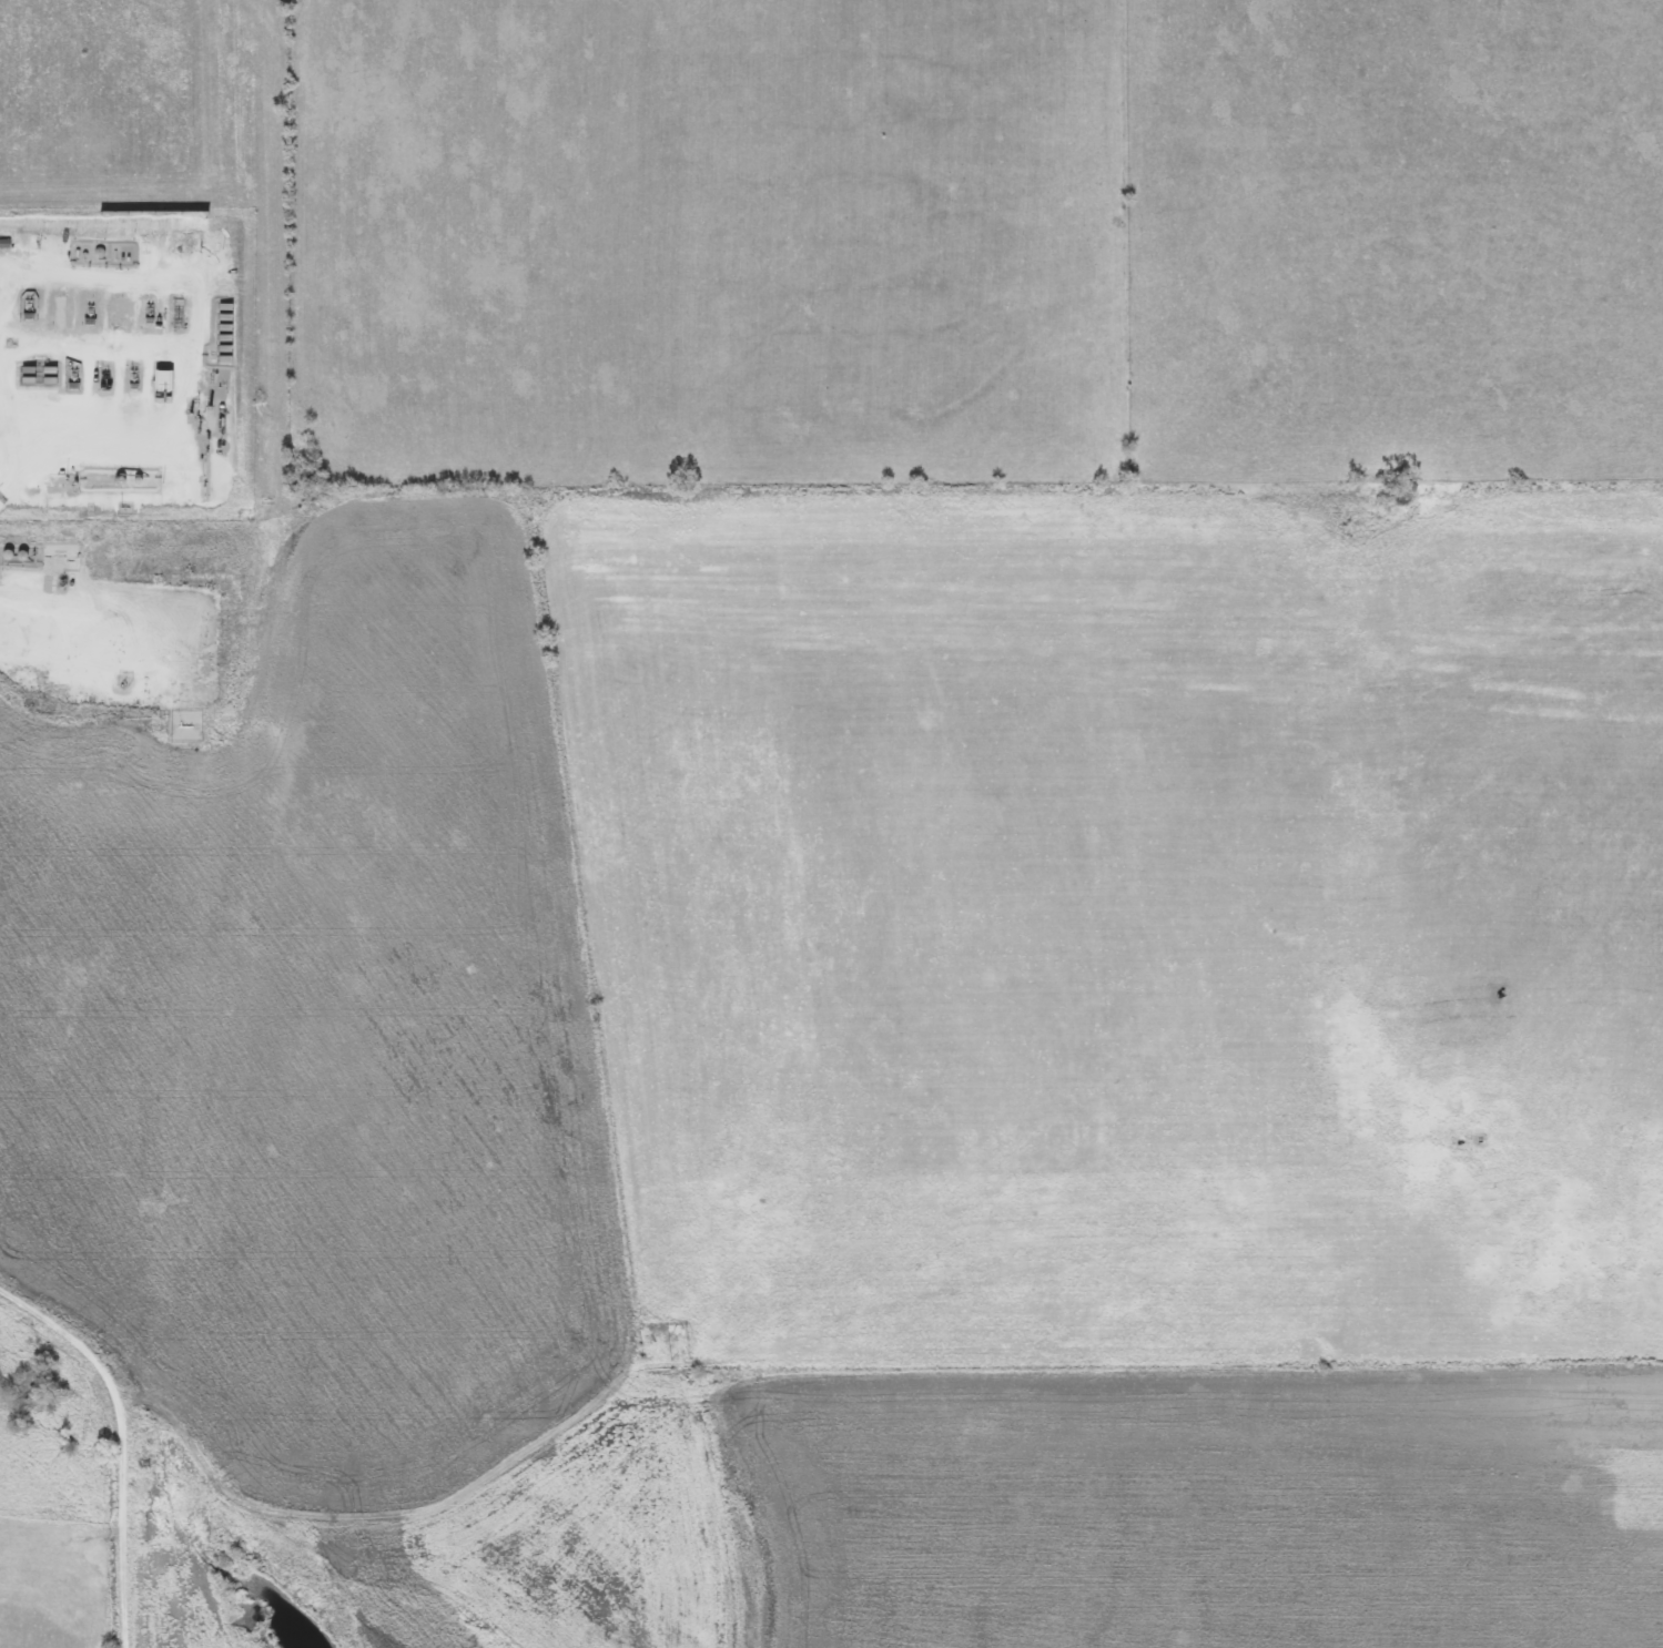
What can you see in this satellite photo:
building: (182, 734)
road: (118, 1444)

